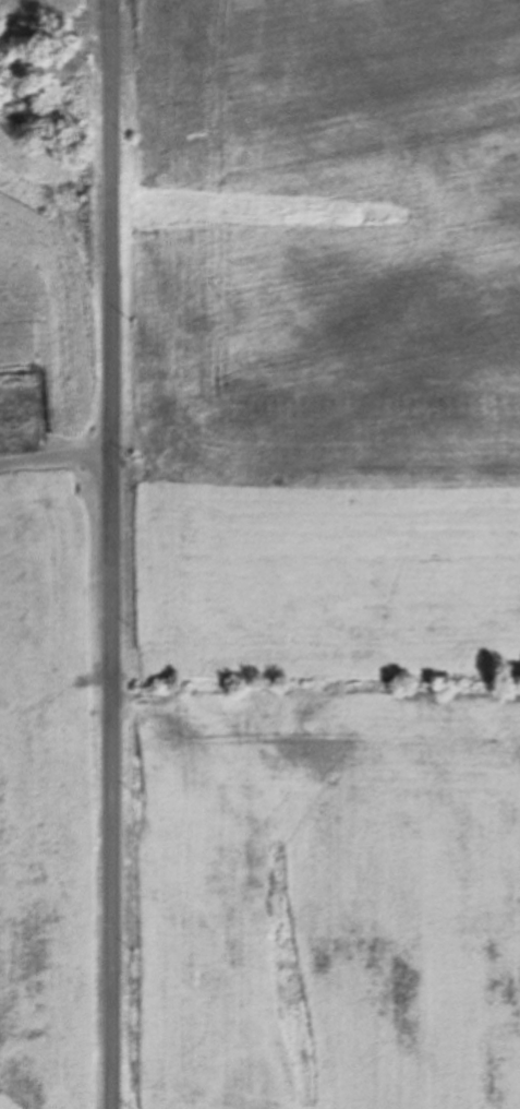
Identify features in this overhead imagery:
road: (56, 456)
road: (112, 554)

